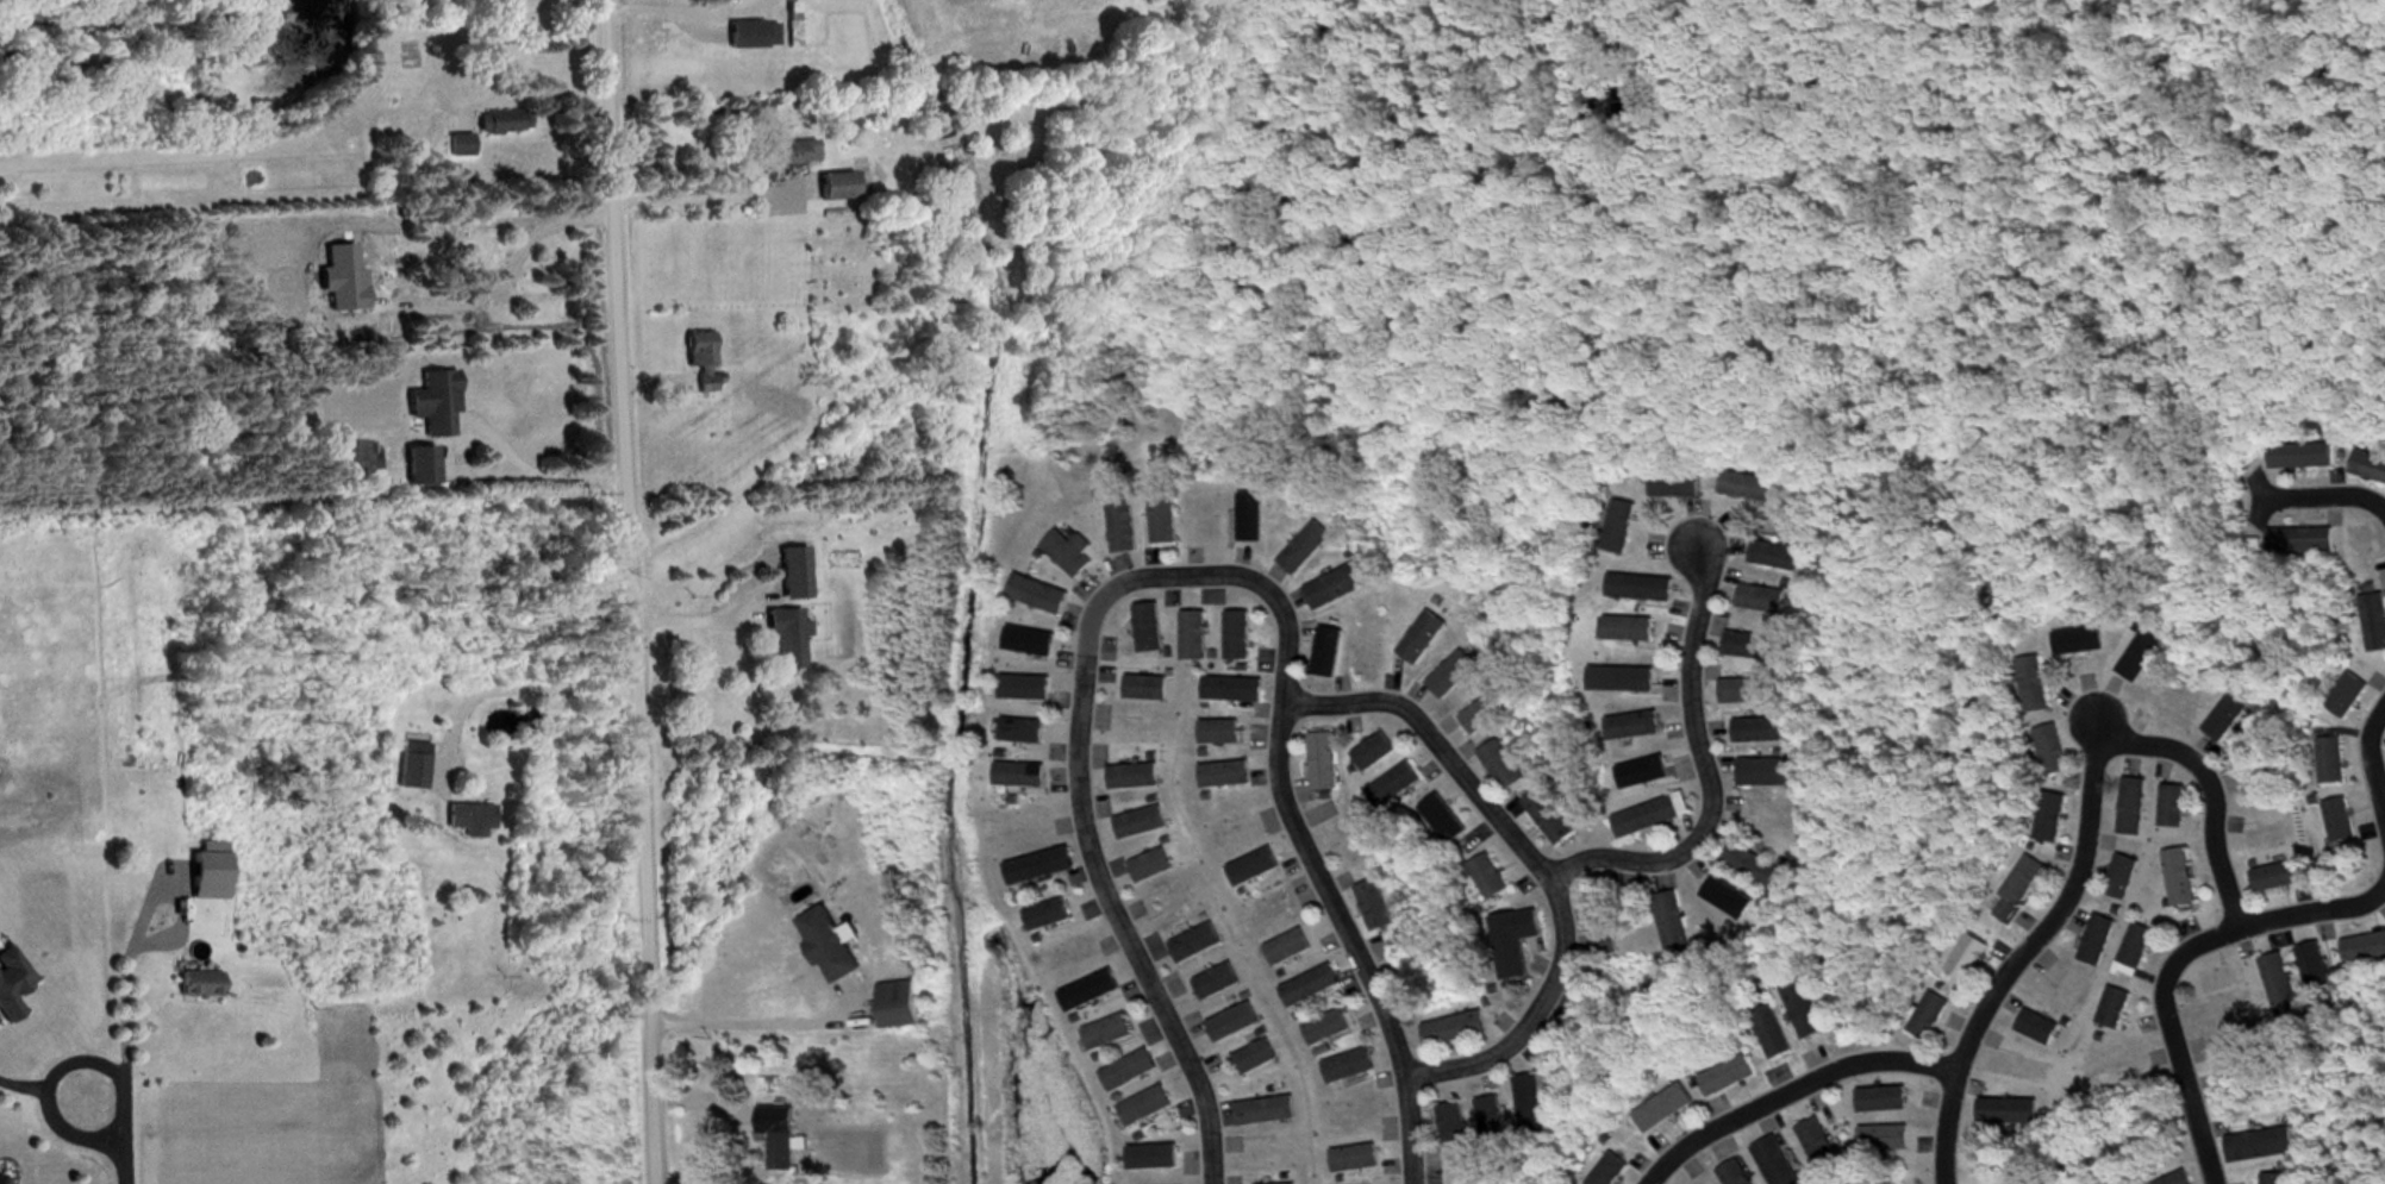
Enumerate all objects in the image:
building: (755, 35)
building: (504, 123)
building: (793, 154)
building: (837, 188)
building: (703, 362)
building: (436, 406)
building: (2303, 457)
building: (423, 468)
building: (2370, 468)
road: (535, 469)
building: (1675, 487)
building: (1748, 488)
road: (2254, 496)
road: (2324, 496)
building: (1165, 522)
building: (1124, 528)
building: (1621, 528)
building: (2303, 543)
building: (1306, 550)
building: (1070, 555)
building: (1777, 558)
road: (1184, 575)
building: (1341, 588)
building: (1642, 590)
road: (624, 591)
building: (1041, 596)
building: (1763, 601)
building: (2375, 622)
building: (1150, 629)
building: (1630, 631)
building: (1240, 637)
building: (1195, 638)
building: (788, 639)
building: (1424, 639)
building: (1753, 647)
road: (519, 683)
building: (2034, 687)
building: (1148, 689)
building: (1235, 690)
building: (1750, 691)
building: (2348, 697)
building: (1484, 716)
building: (2227, 719)
building: (1635, 727)
building: (1025, 732)
building: (1760, 732)
building: (1222, 733)
building: (2053, 751)
building: (1376, 753)
road: (1697, 757)
building: (2333, 762)
building: (1325, 763)
building: (414, 765)
building: (1504, 766)
road: (2366, 769)
building: (1767, 773)
building: (1022, 776)
building: (1226, 776)
building: (1135, 777)
building: (1397, 788)
road: (2085, 790)
building: (2134, 808)
building: (2173, 808)
building: (1653, 817)
building: (1552, 819)
building: (2052, 819)
building: (472, 821)
building: (1446, 821)
building: (2341, 822)
building: (1142, 825)
road: (1526, 860)
building: (1753, 866)
building: (1042, 867)
building: (1151, 867)
building: (1255, 869)
building: (210, 877)
building: (2279, 878)
building: (1490, 879)
building: (2123, 879)
building: (2181, 879)
building: (2019, 891)
building: (1376, 907)
road: (2316, 909)
building: (1049, 917)
building: (1674, 922)
building: (2098, 942)
building: (1606, 944)
building: (1195, 945)
building: (830, 946)
building: (1511, 948)
building: (1290, 950)
building: (2365, 950)
building: (2136, 952)
building: (2315, 967)
building: (200, 982)
building: (1218, 984)
building: (13, 985)
building: (1312, 988)
building: (2281, 988)
building: (1092, 992)
building: (899, 1006)
building: (1804, 1010)
building: (2116, 1010)
road: (121, 1015)
road: (755, 1016)
building: (1930, 1017)
building: (1235, 1025)
building: (1329, 1028)
building: (2040, 1029)
building: (1456, 1030)
building: (1110, 1034)
building: (1773, 1034)
road: (2167, 1038)
building: (1257, 1059)
building: (1350, 1067)
building: (1131, 1072)
building: (1728, 1078)
road: (1782, 1090)
building: (1884, 1101)
building: (1532, 1104)
building: (1148, 1108)
building: (1666, 1110)
building: (1267, 1113)
building: (2009, 1113)
building: (1493, 1122)
building: (1454, 1125)
road: (1937, 1127)
road: (118, 1133)
building: (781, 1138)
building: (1885, 1140)
building: (2261, 1147)
building: (1821, 1148)
building: (1356, 1160)
building: (1777, 1163)
building: (1611, 1171)
building: (1736, 1174)
building: (2, 1179)
building: (2178, 1179)
building: (2275, 1179)

